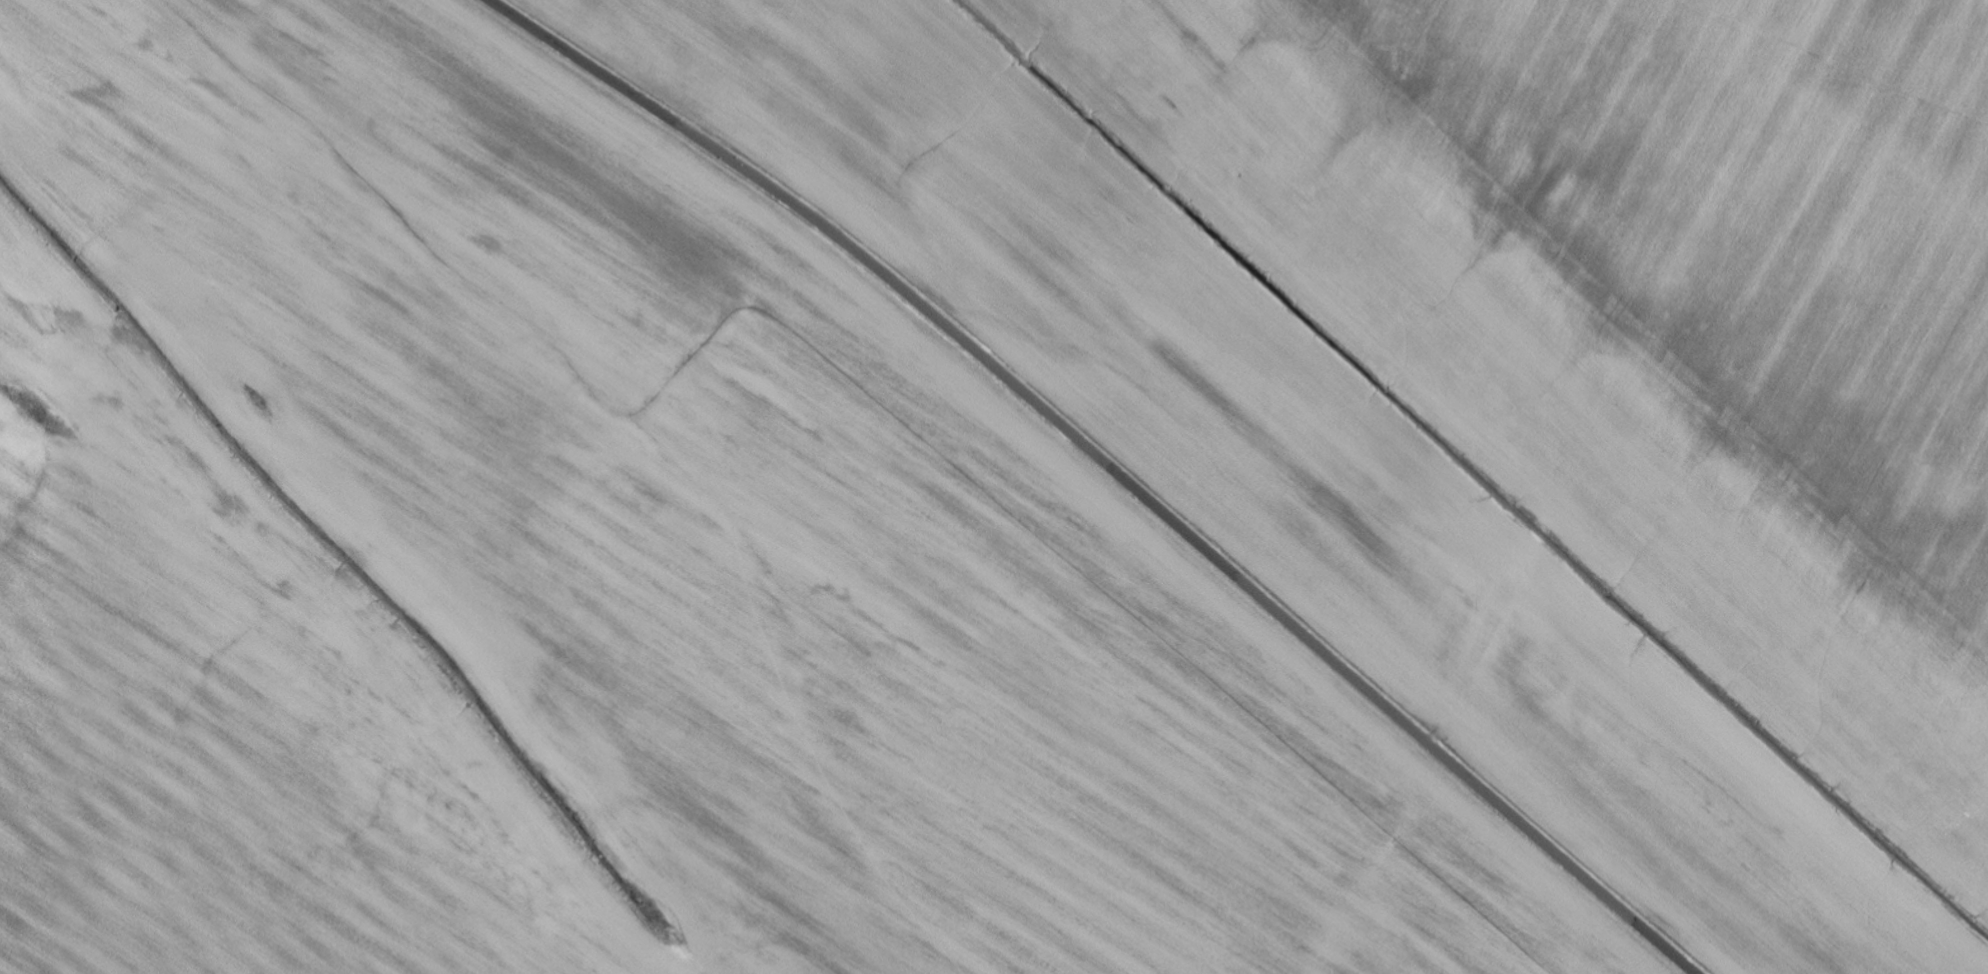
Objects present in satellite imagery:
road: (1107, 466)

